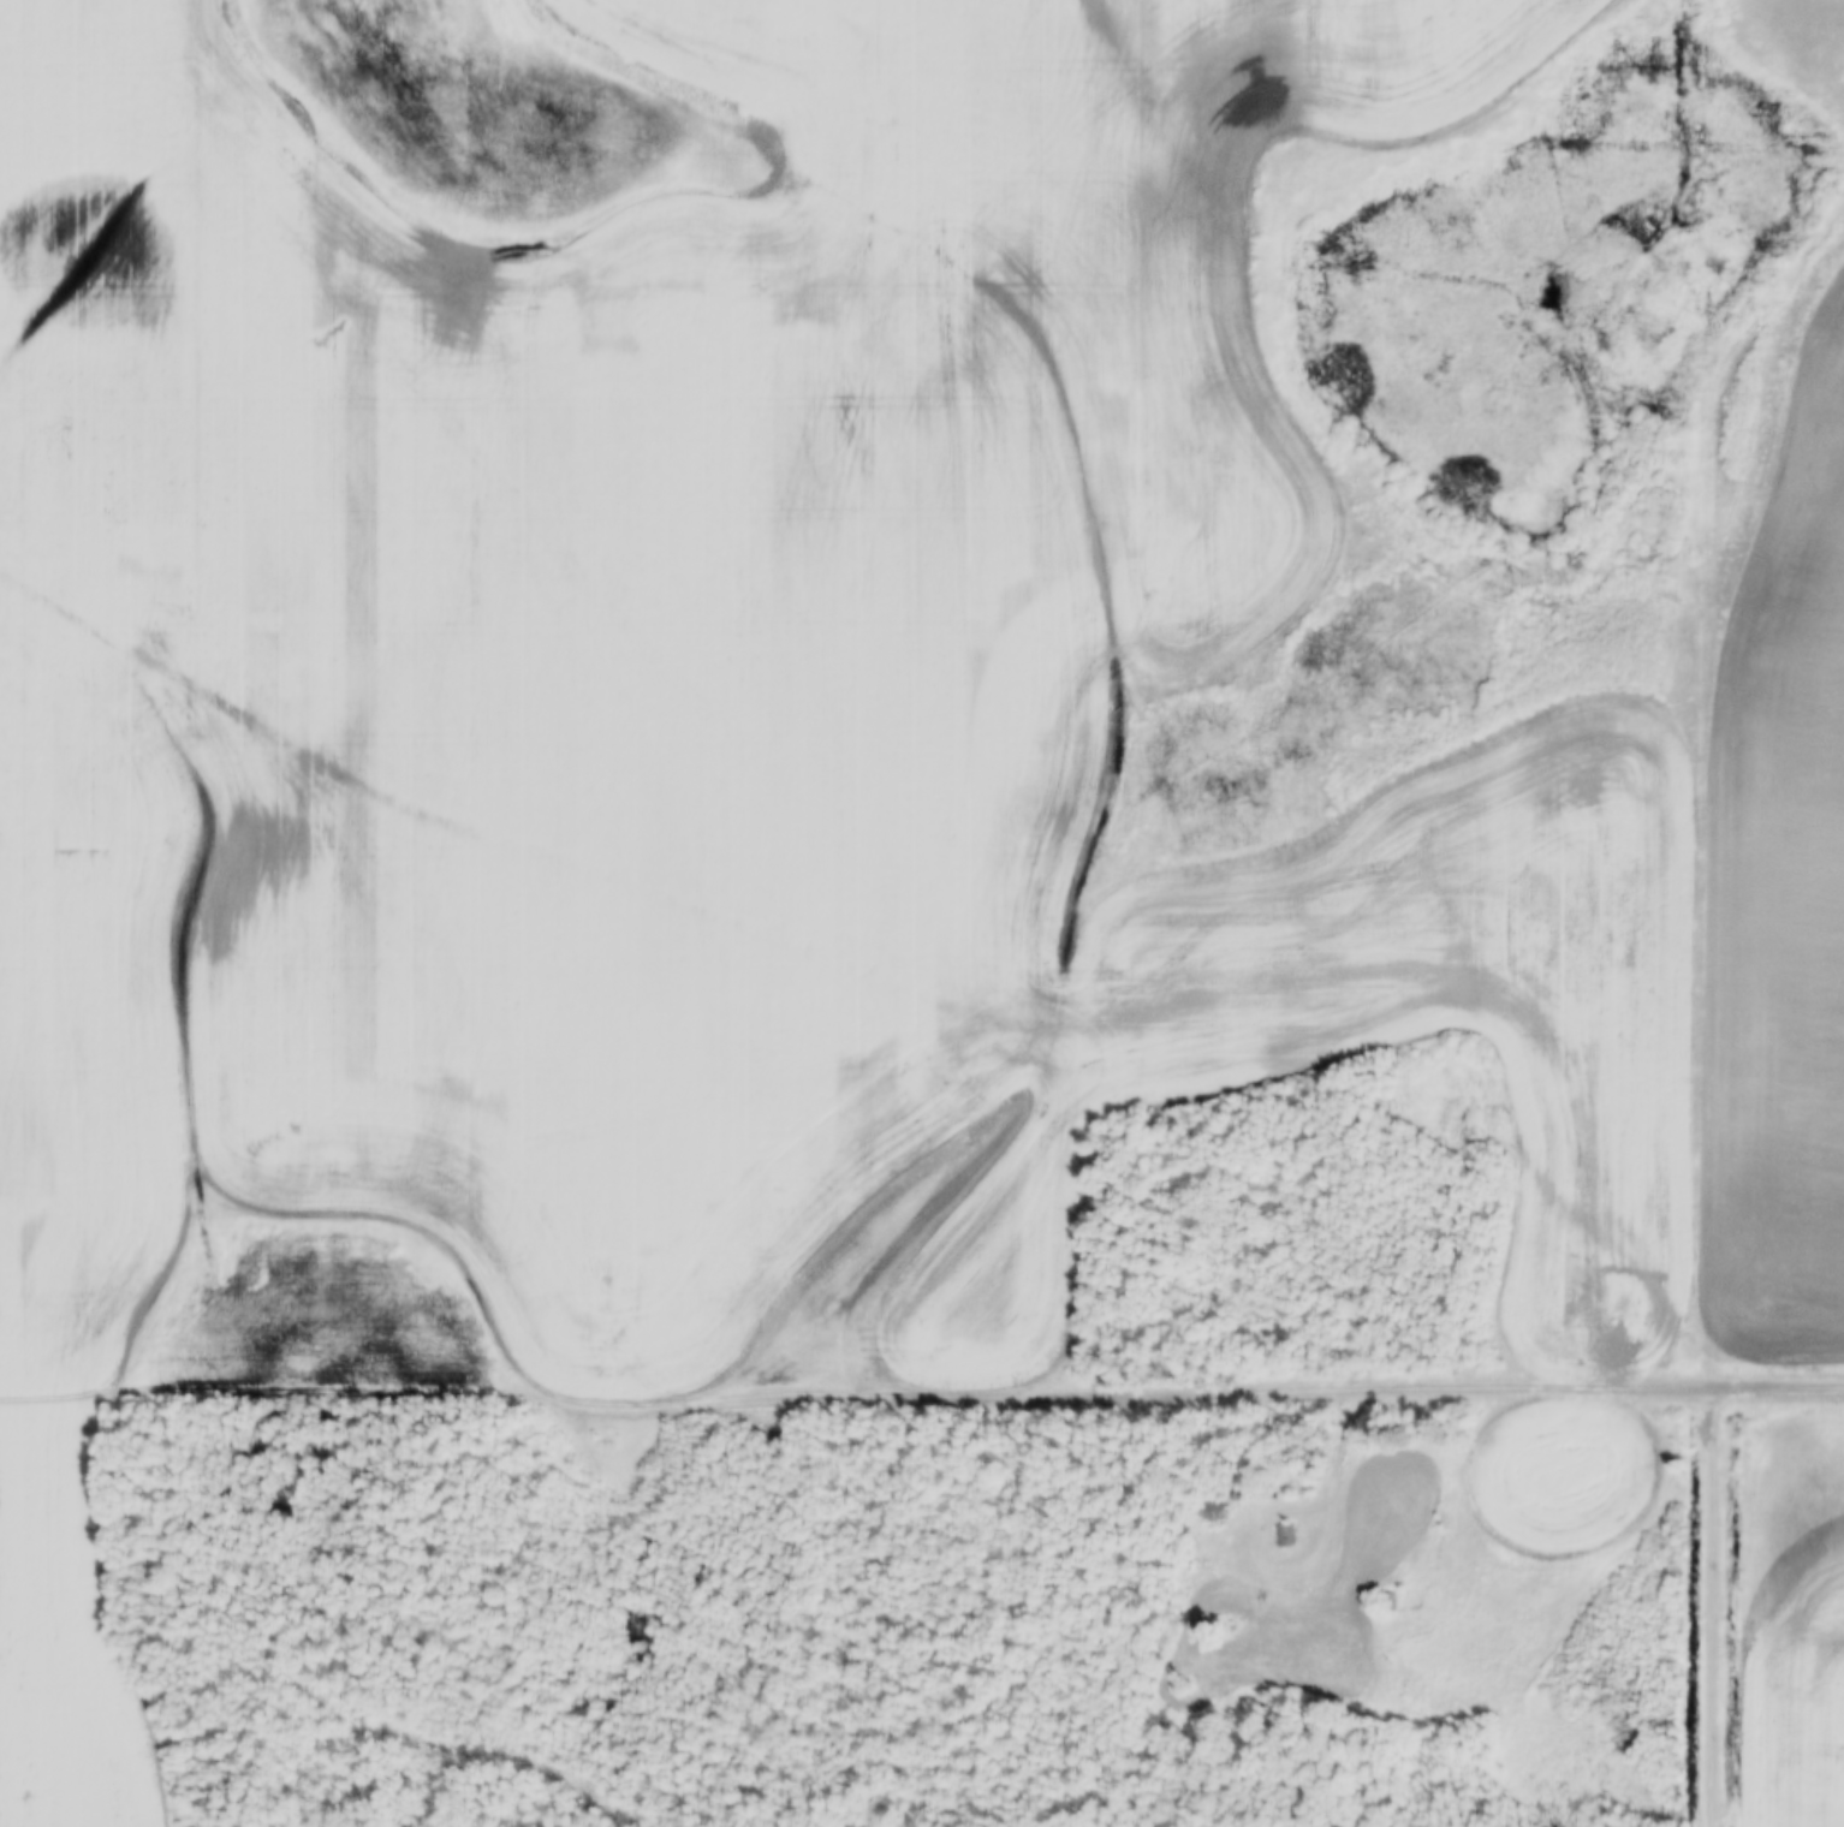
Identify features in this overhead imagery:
road: (1616, 1381)
road: (695, 1387)
road: (1349, 1454)
building: (1238, 1498)
silo: (1238, 1498)
building: (1214, 1516)
building: (1284, 1536)
building: (1387, 1602)
road: (1720, 1605)

